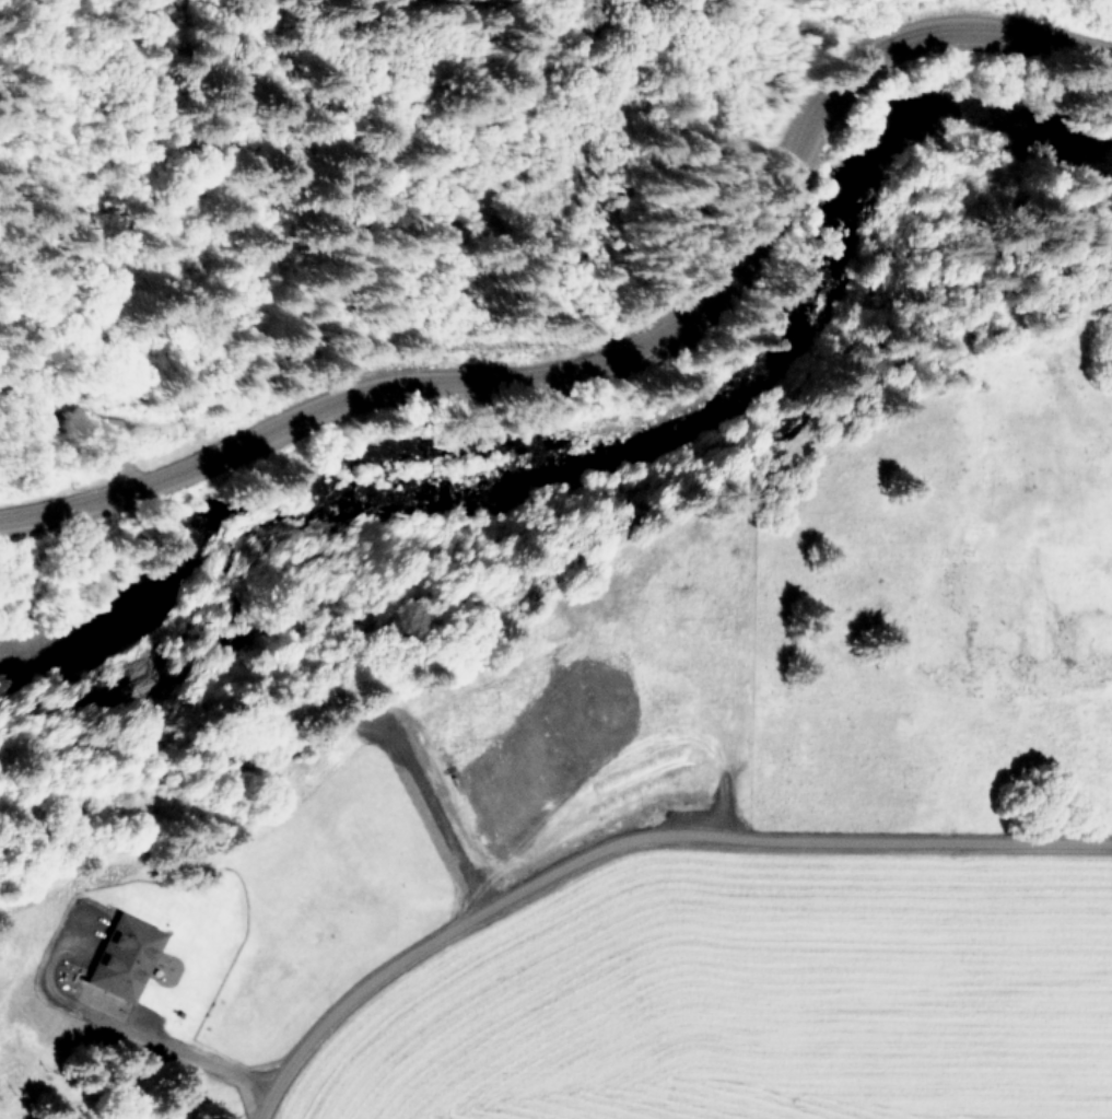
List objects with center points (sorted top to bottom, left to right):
road: (620, 353)
crop: (663, 838)
road: (639, 843)
building: (124, 956)
road: (168, 1038)

